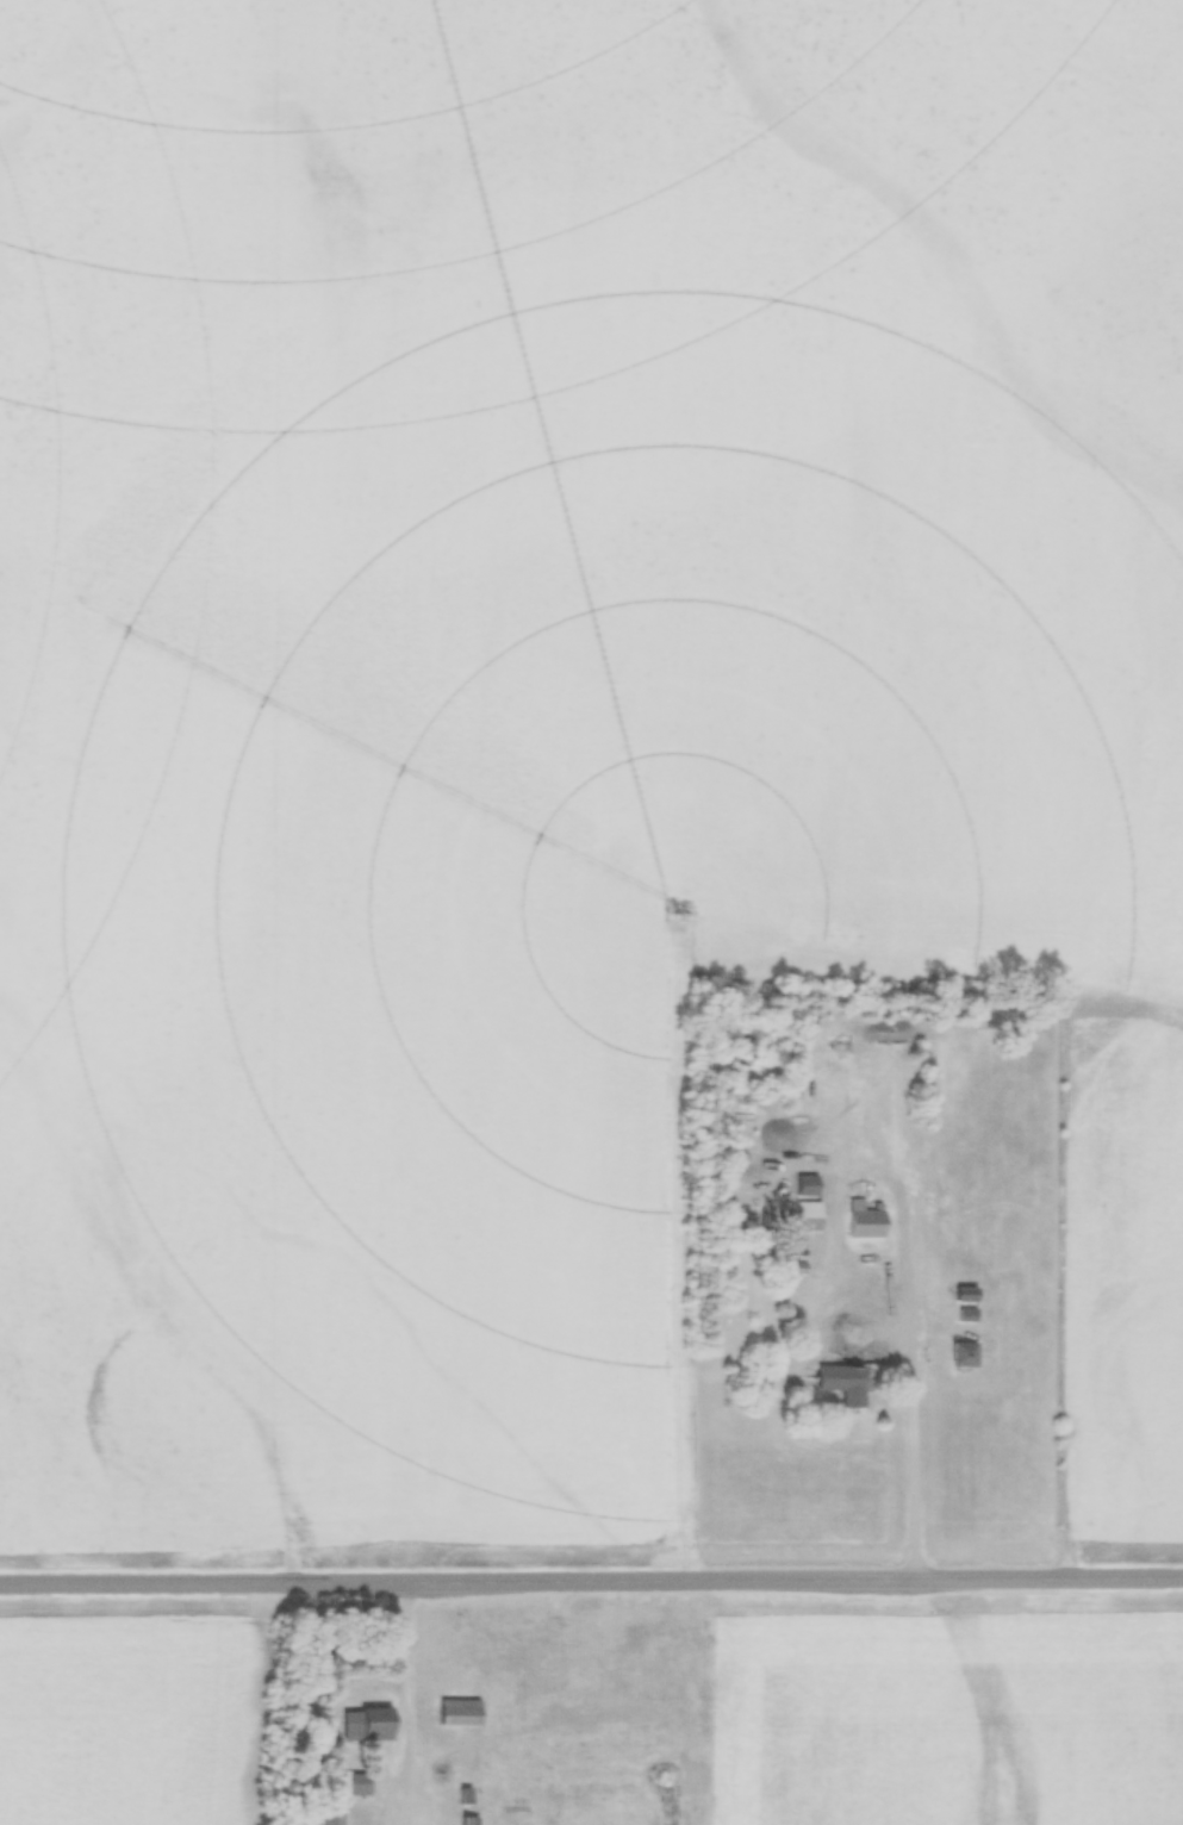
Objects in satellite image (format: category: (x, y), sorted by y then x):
building: (863, 1217)
building: (966, 1312)
building: (852, 1328)
building: (963, 1351)
building: (846, 1375)
road: (914, 1406)
road: (591, 1581)
building: (456, 1709)
building: (350, 1718)
building: (359, 1781)

